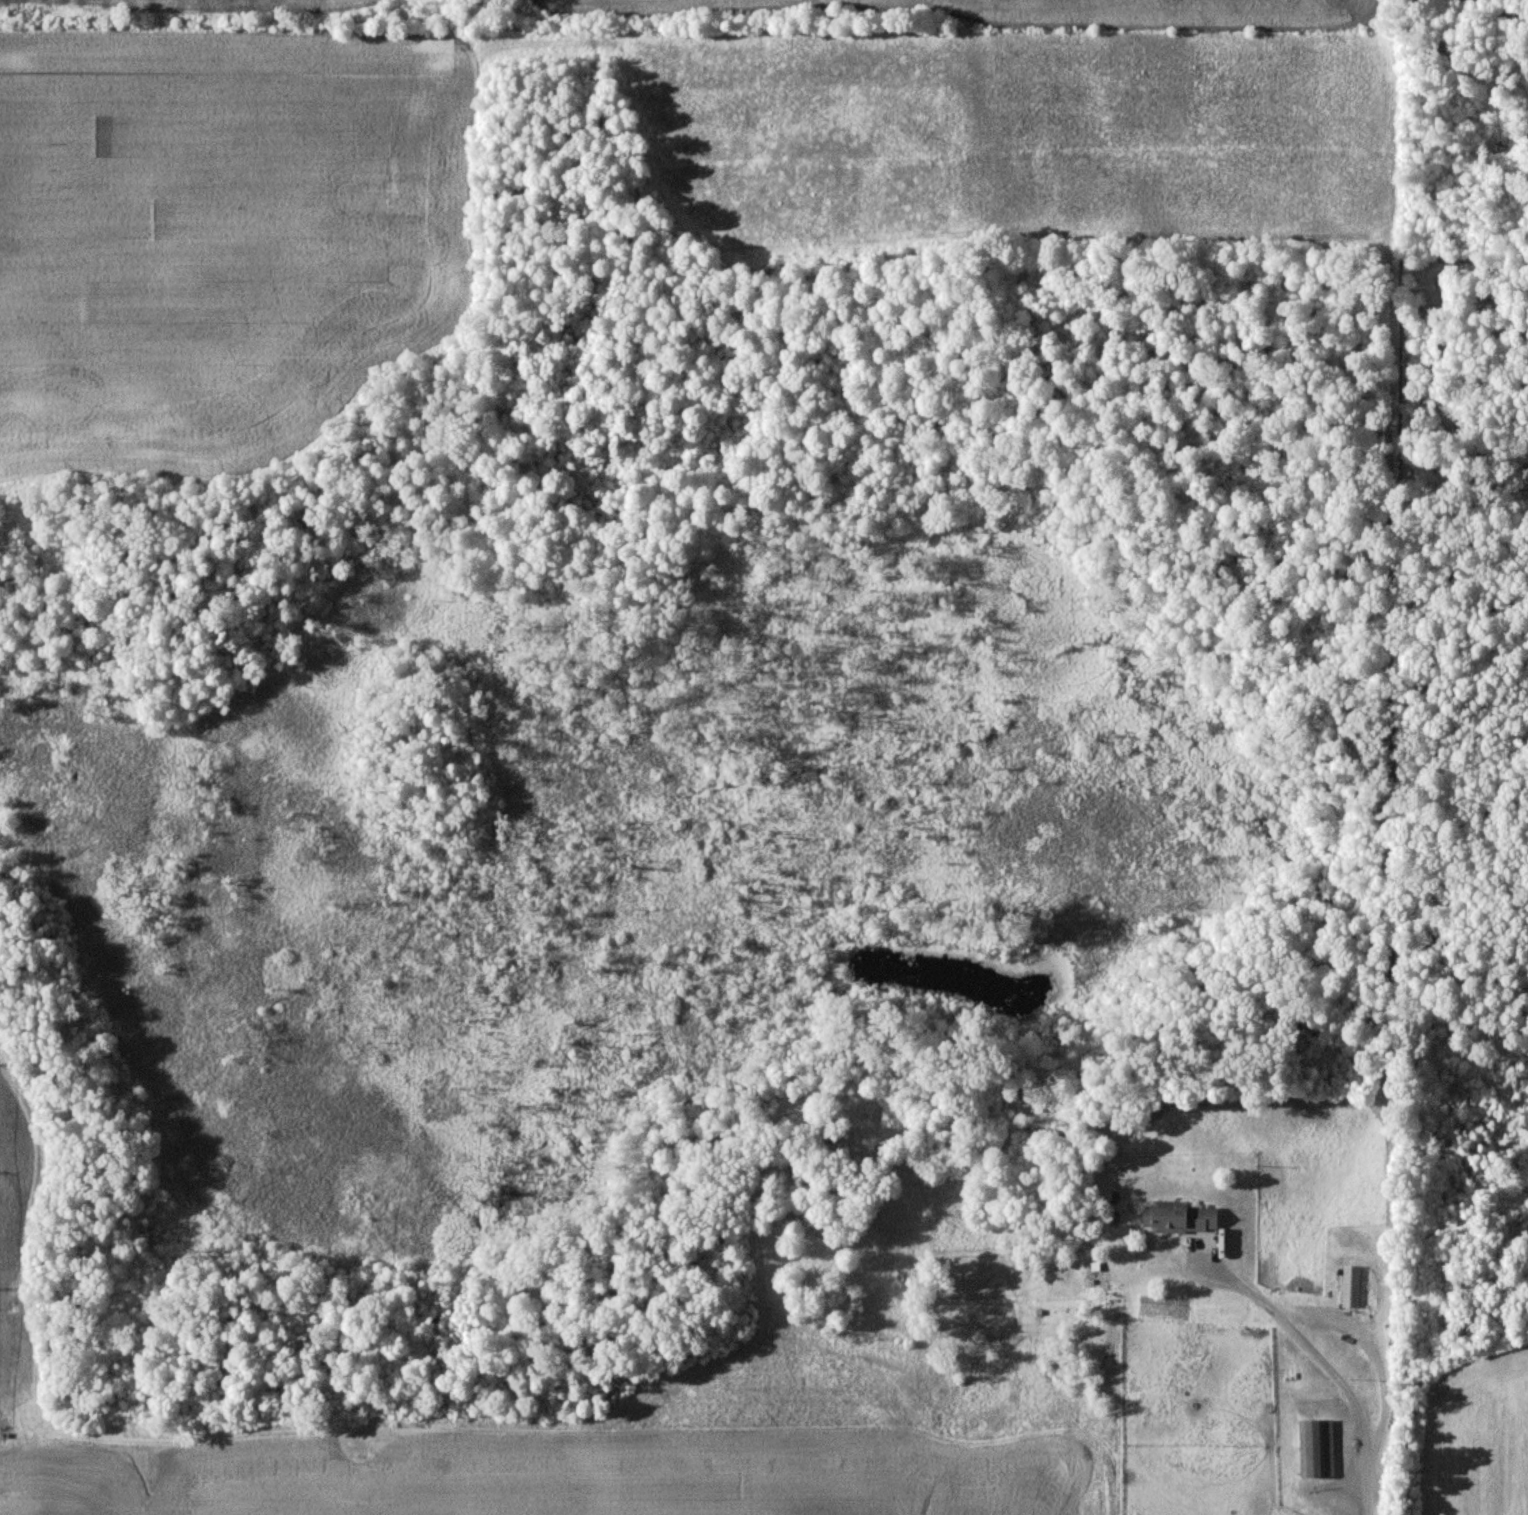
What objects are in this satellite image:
building: (1183, 1217)
building: (1353, 1286)
road: (1326, 1369)
building: (1319, 1449)

